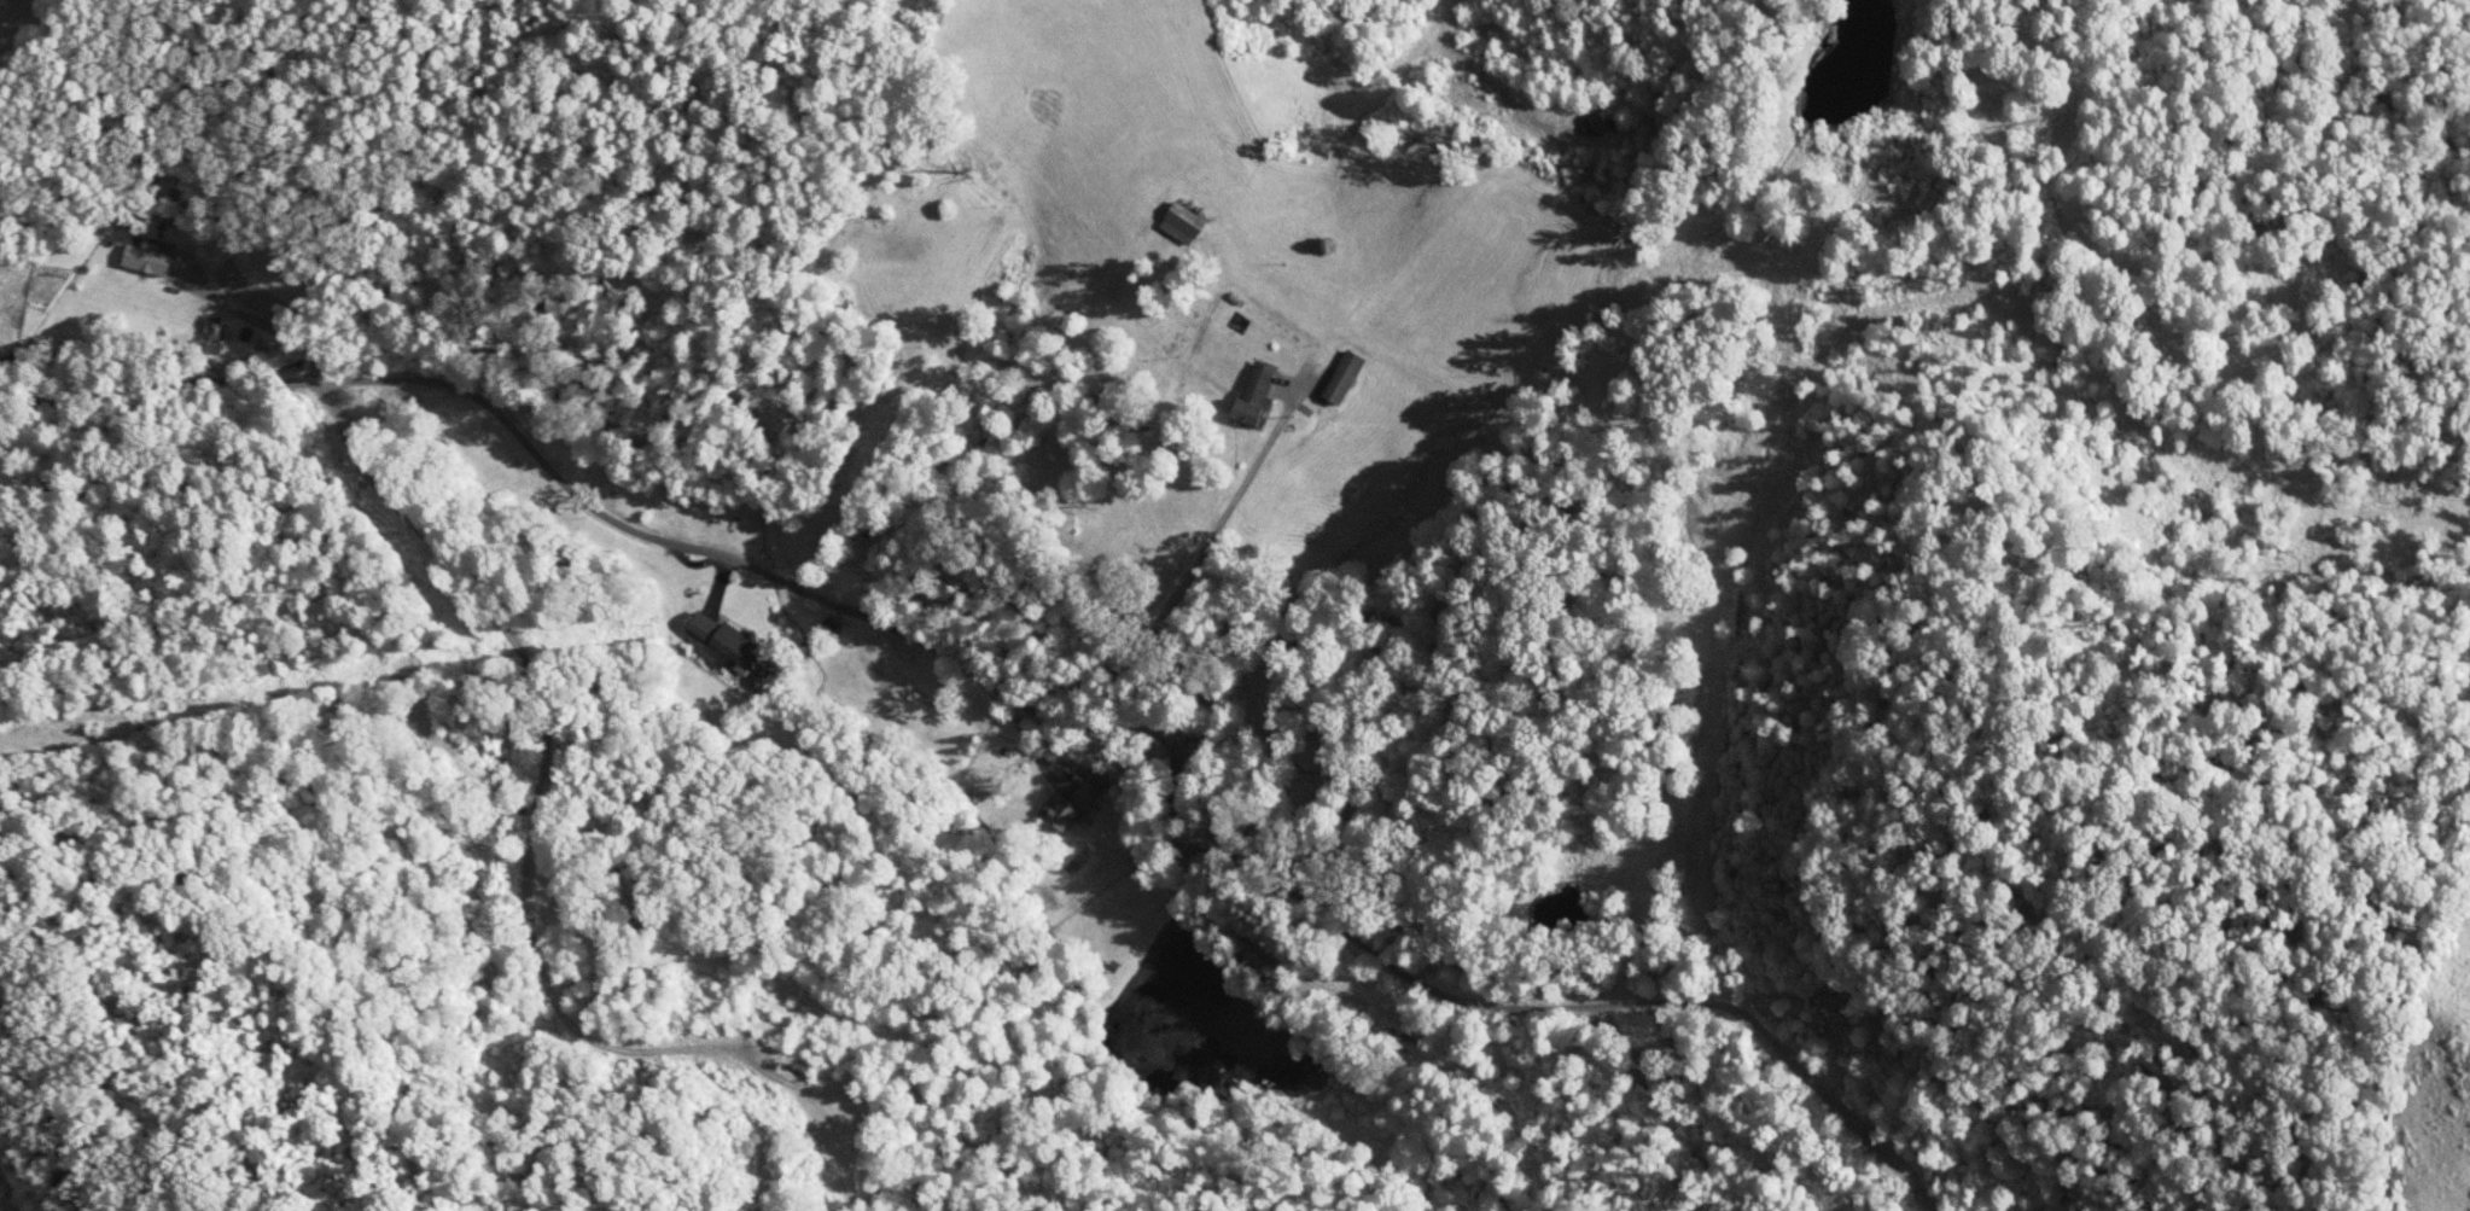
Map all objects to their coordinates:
building: (1163, 220)
building: (146, 261)
building: (1329, 374)
building: (1246, 389)
road: (501, 419)

